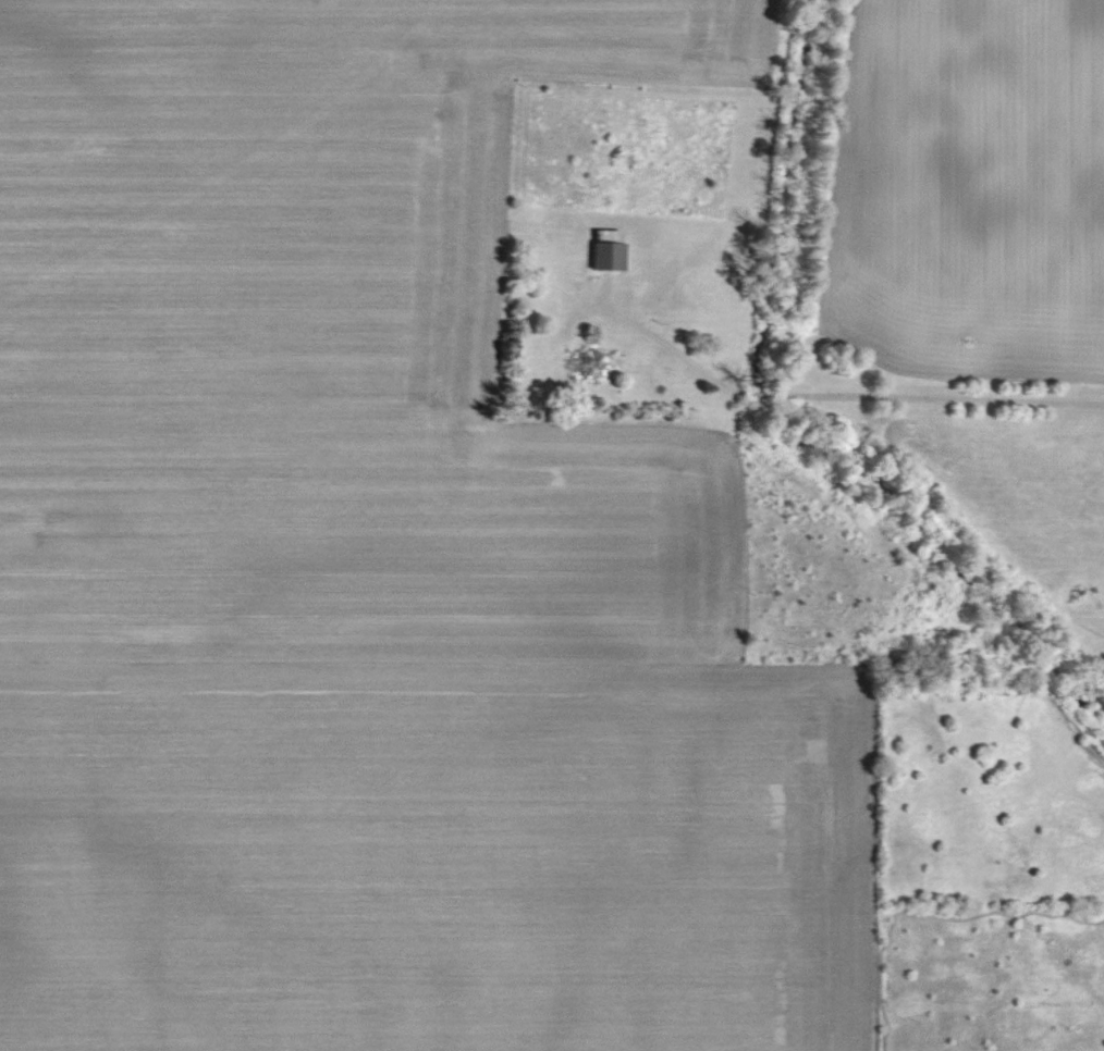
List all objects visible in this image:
building: (609, 251)
building: (587, 367)
road: (829, 397)

